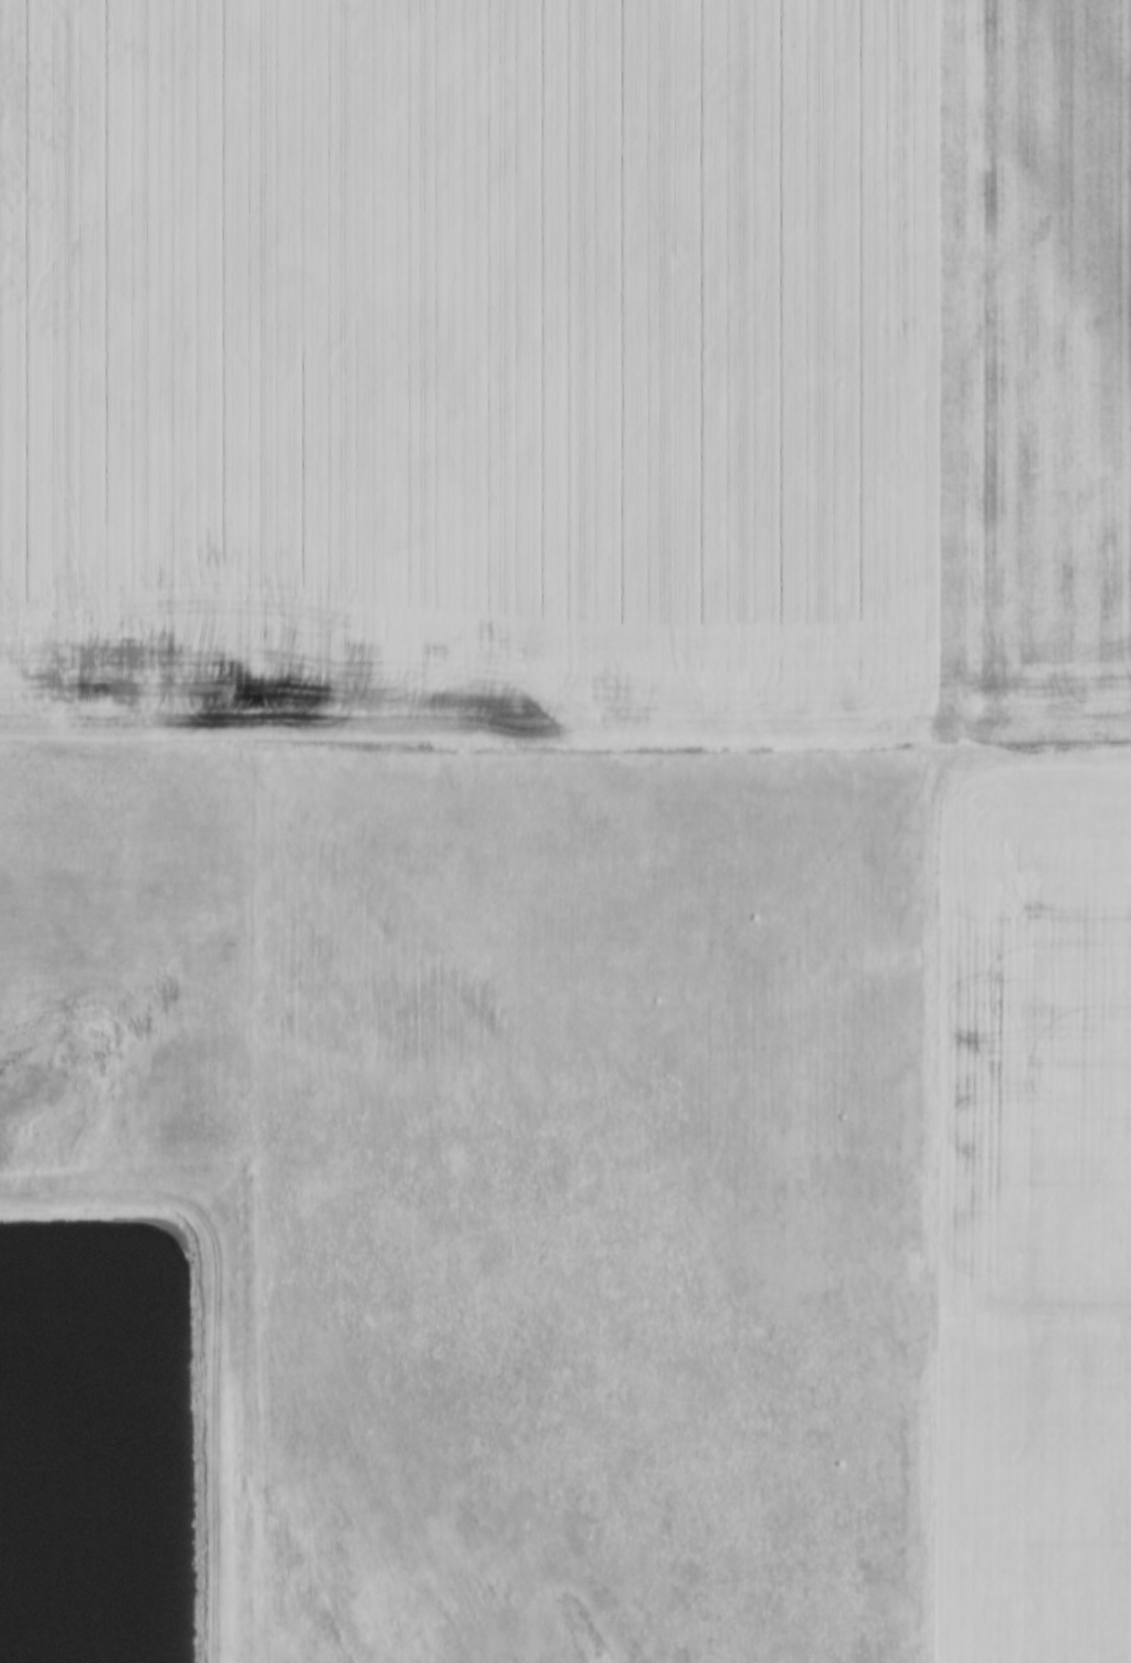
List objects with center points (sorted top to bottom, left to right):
road: (221, 1326)

